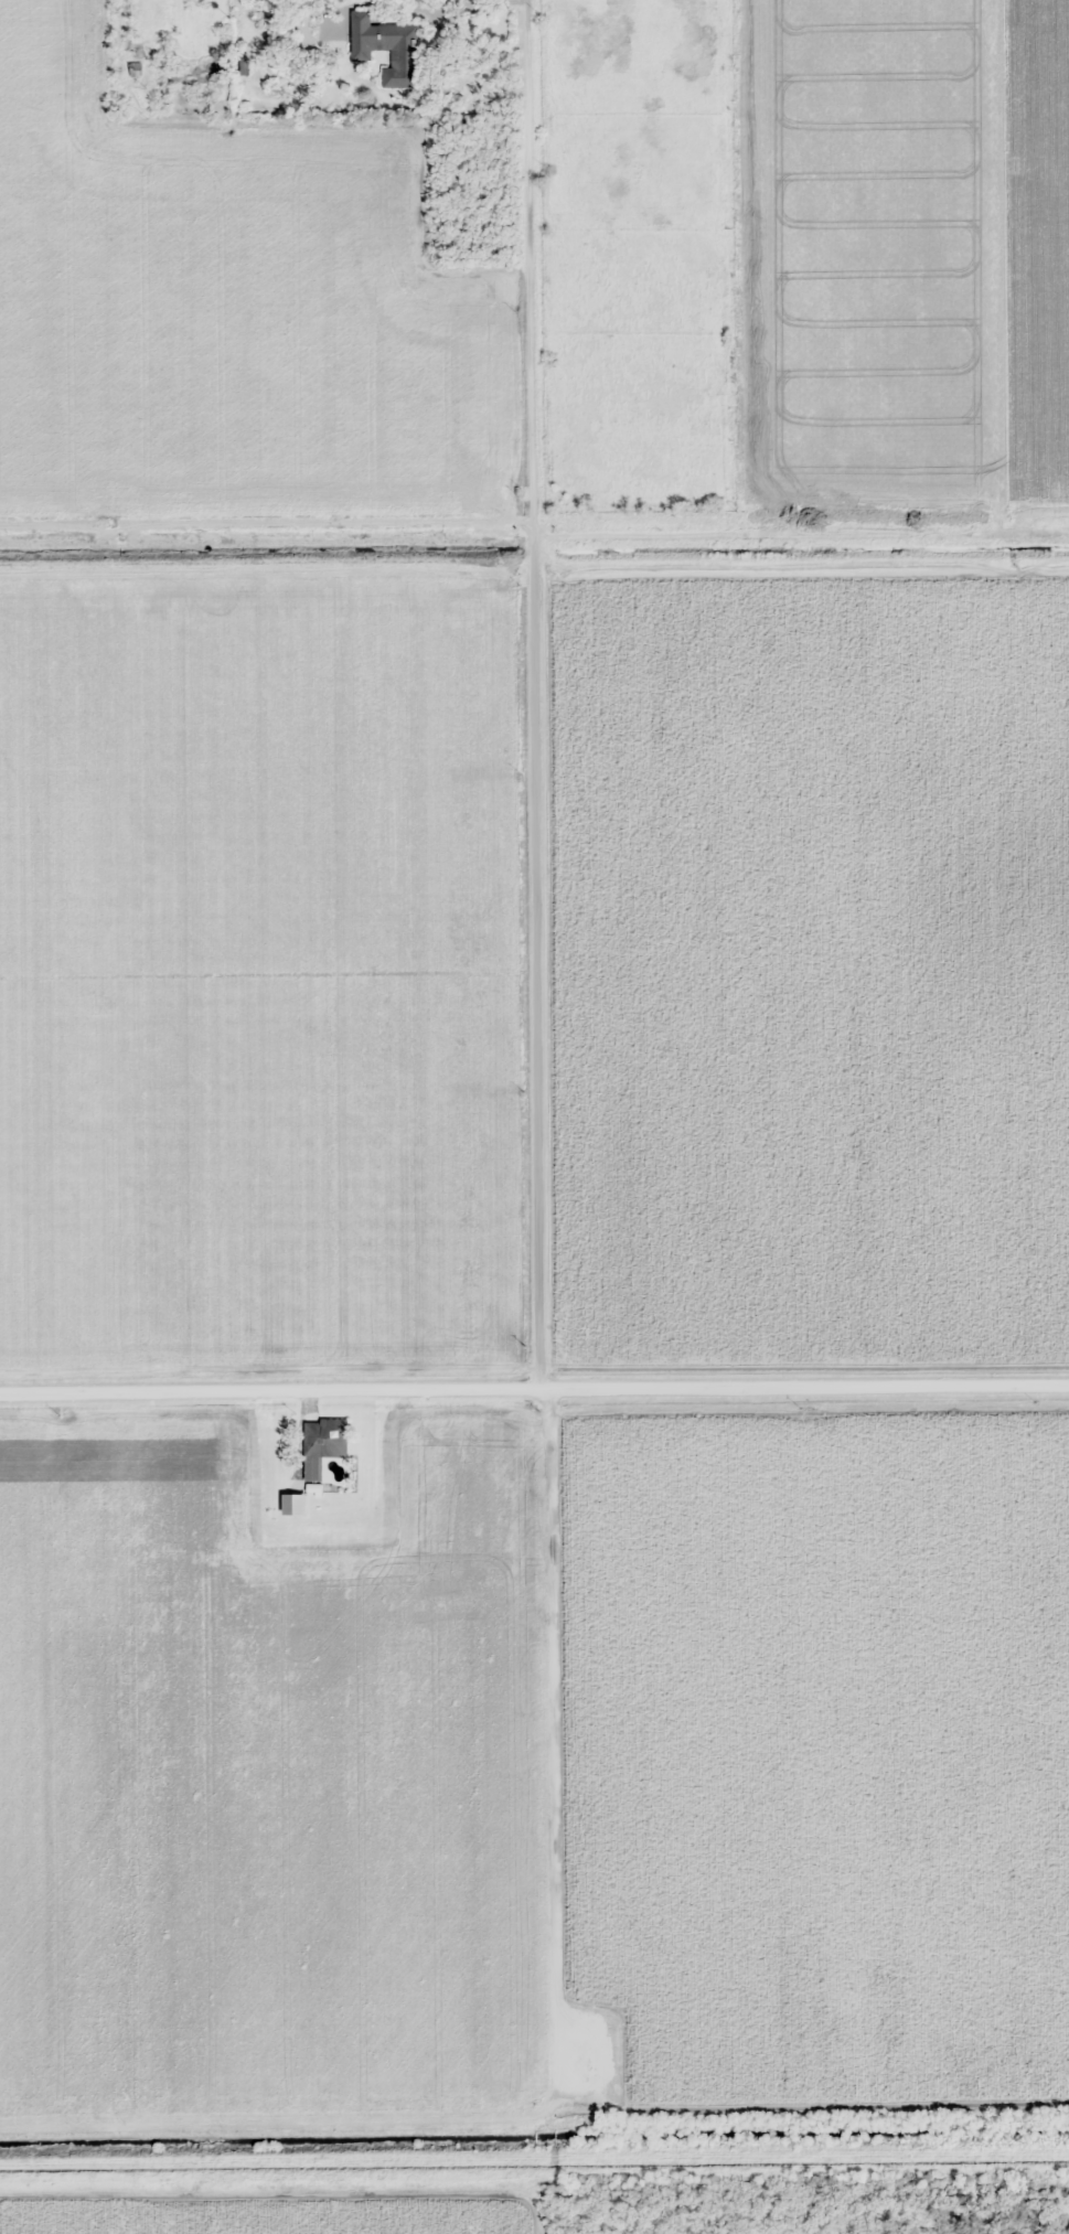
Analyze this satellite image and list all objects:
building: (386, 47)
building: (133, 68)
road: (534, 694)
road: (534, 1390)
building: (323, 1444)

